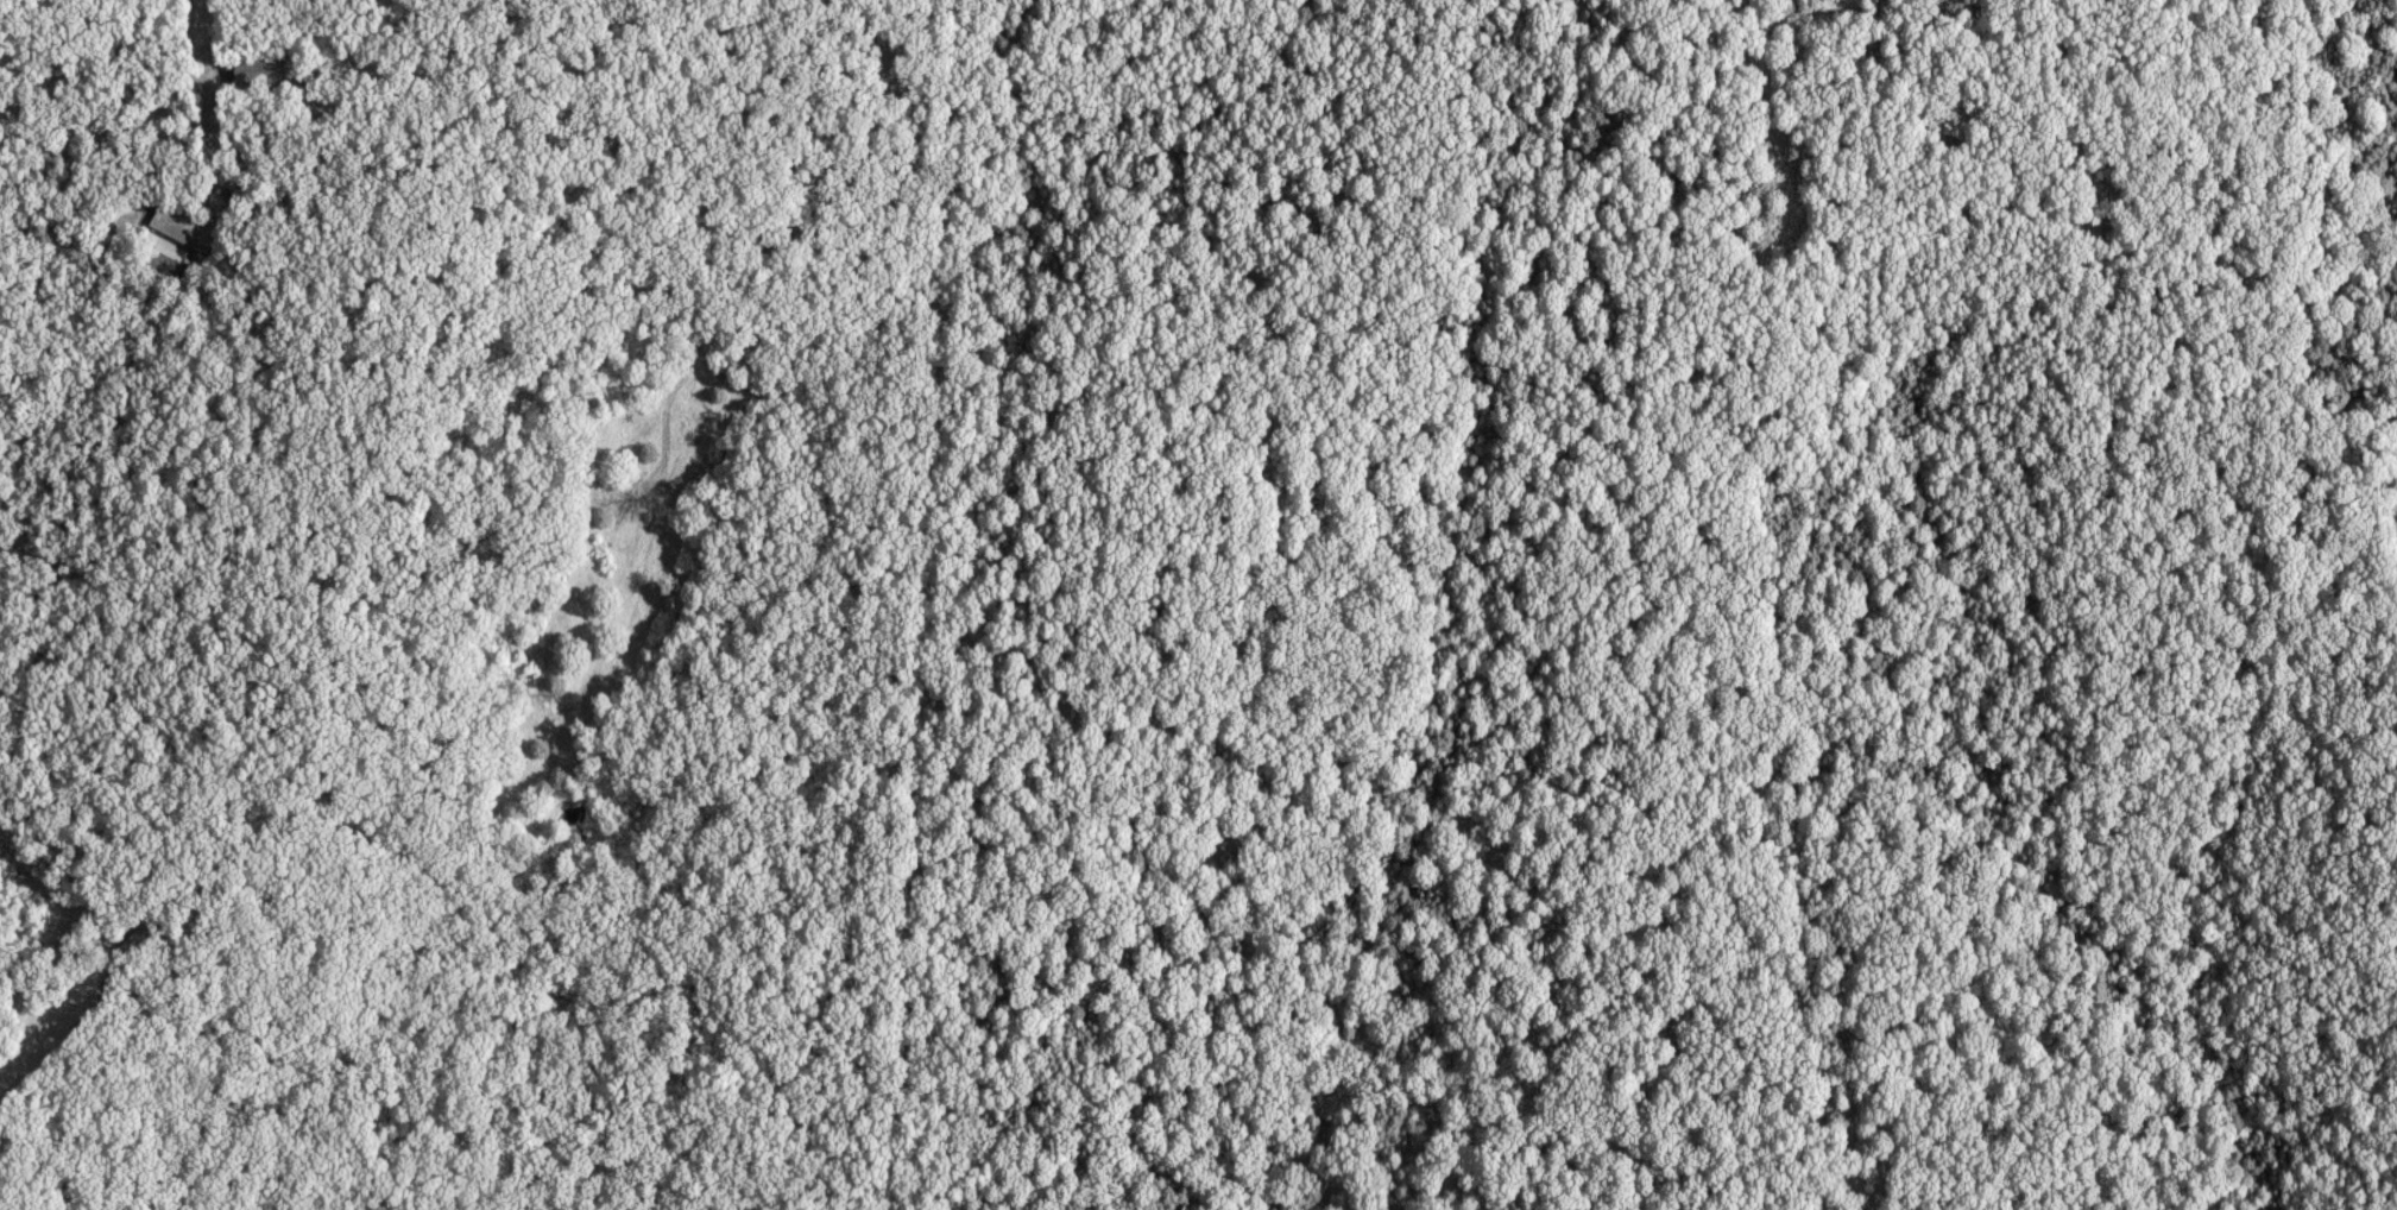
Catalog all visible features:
building: (256, 70)
building: (131, 940)

